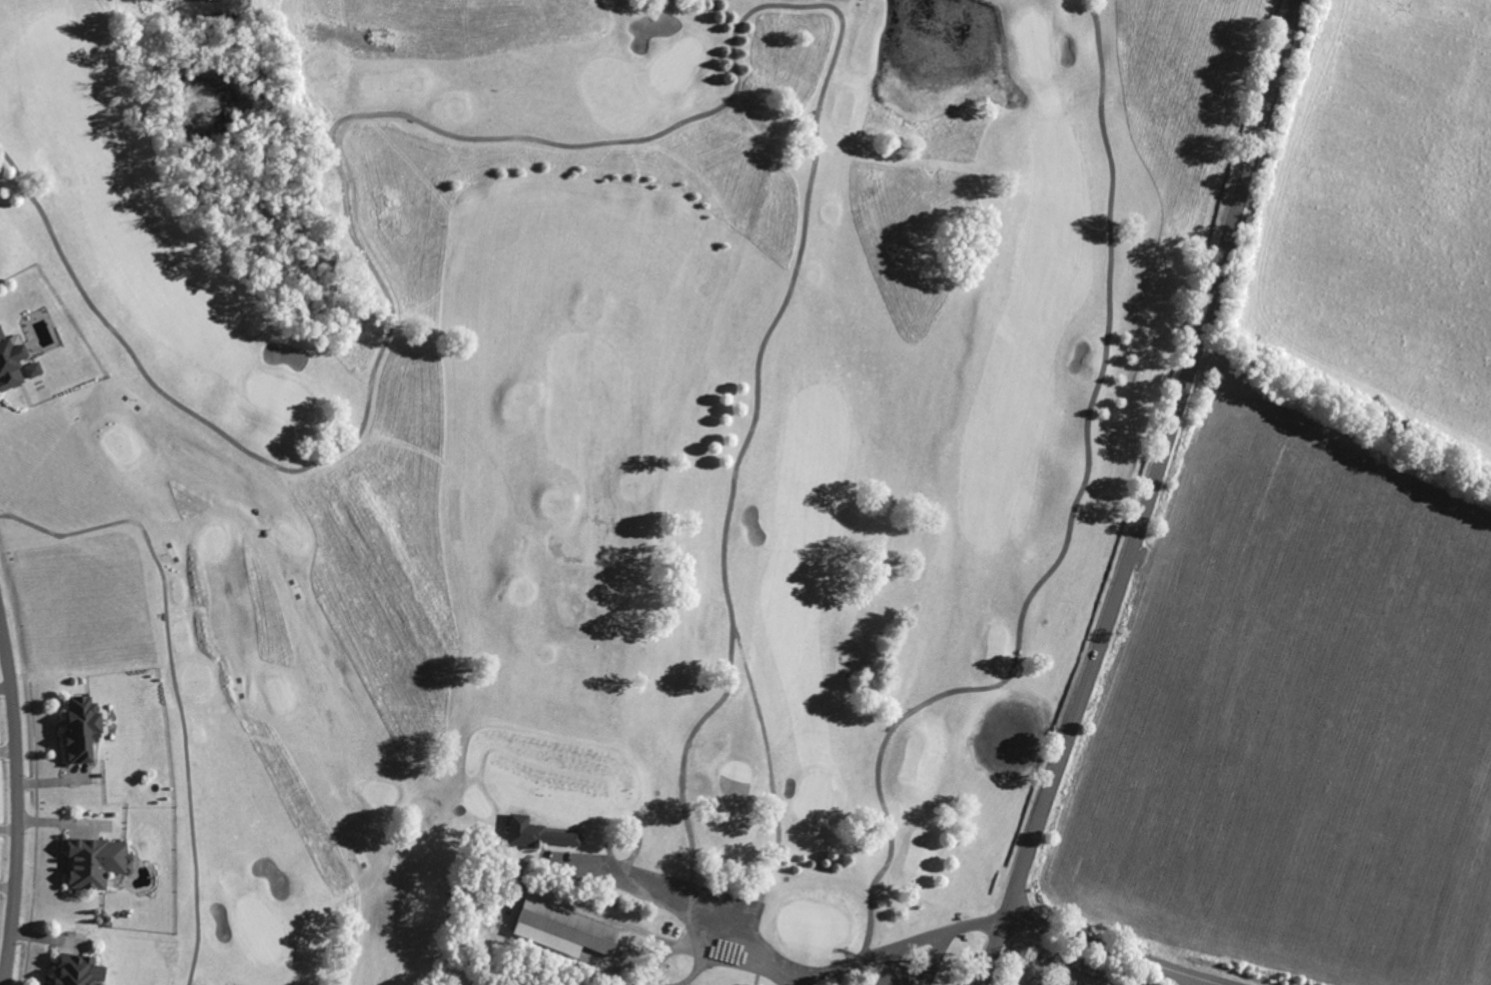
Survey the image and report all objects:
building: (18, 362)
water tower: (1223, 366)
park: (604, 449)
road: (1147, 495)
building: (89, 731)
road: (8, 751)
road: (17, 802)
road: (8, 831)
building: (536, 835)
building: (101, 863)
building: (565, 926)
road: (900, 944)
road: (1114, 949)
road: (934, 959)
road: (888, 965)
building: (85, 971)
road: (757, 971)
road: (1202, 982)

